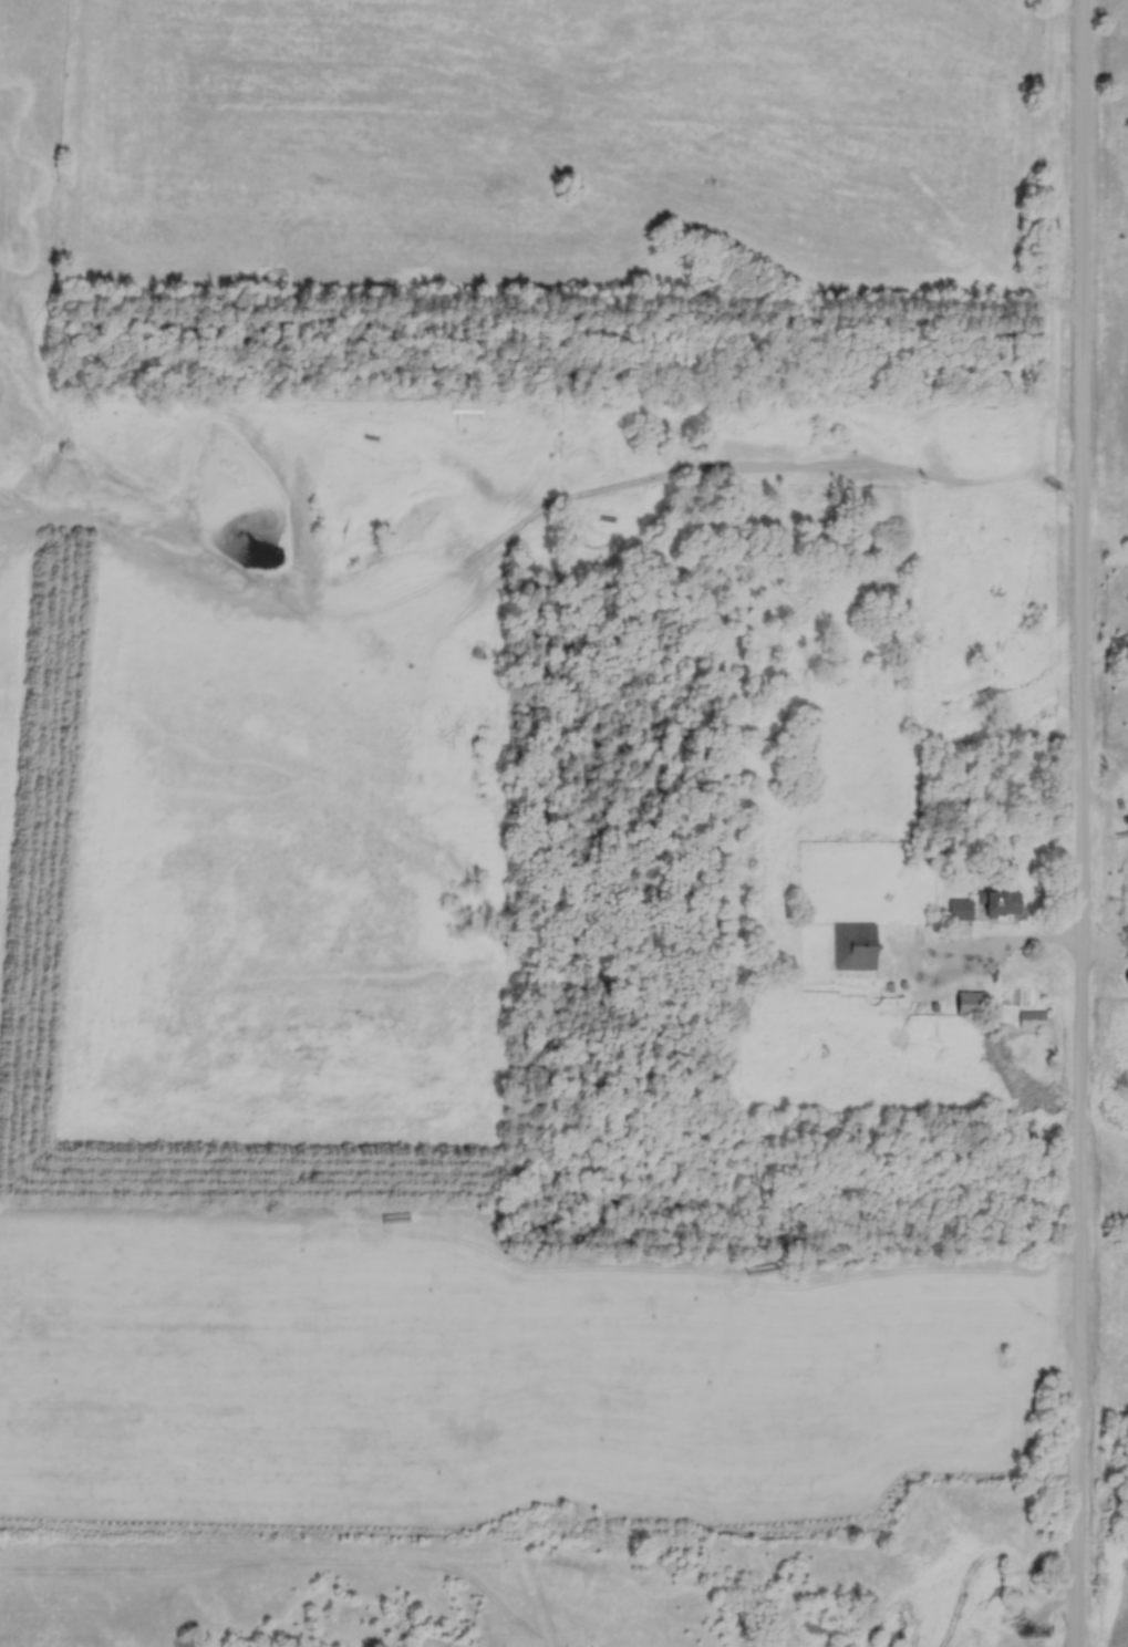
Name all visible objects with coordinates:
road: (1082, 823)
building: (1010, 903)
building: (859, 947)
road: (990, 950)
building: (977, 1004)

